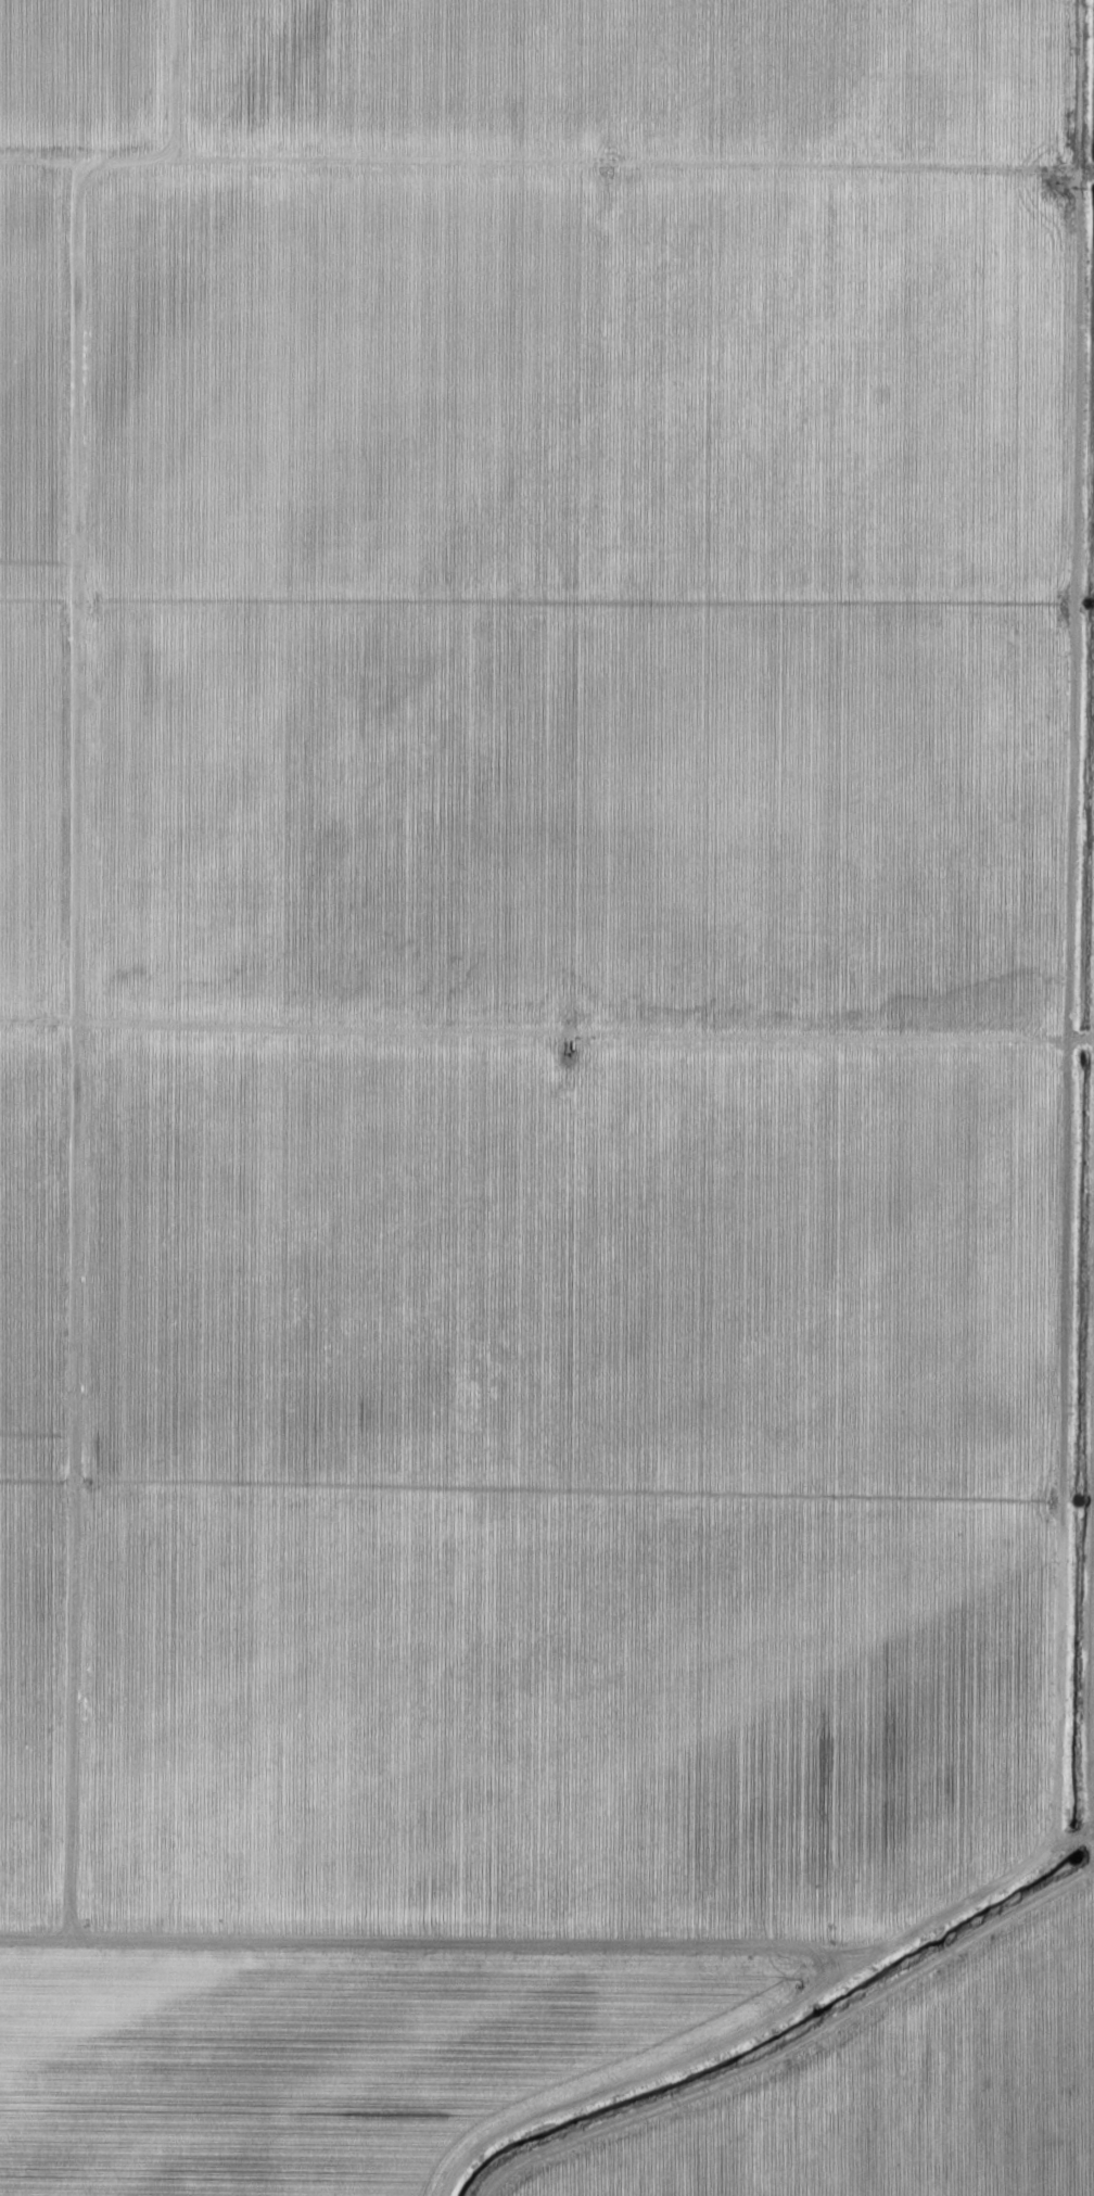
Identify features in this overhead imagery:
road: (546, 1033)
road: (69, 1080)

